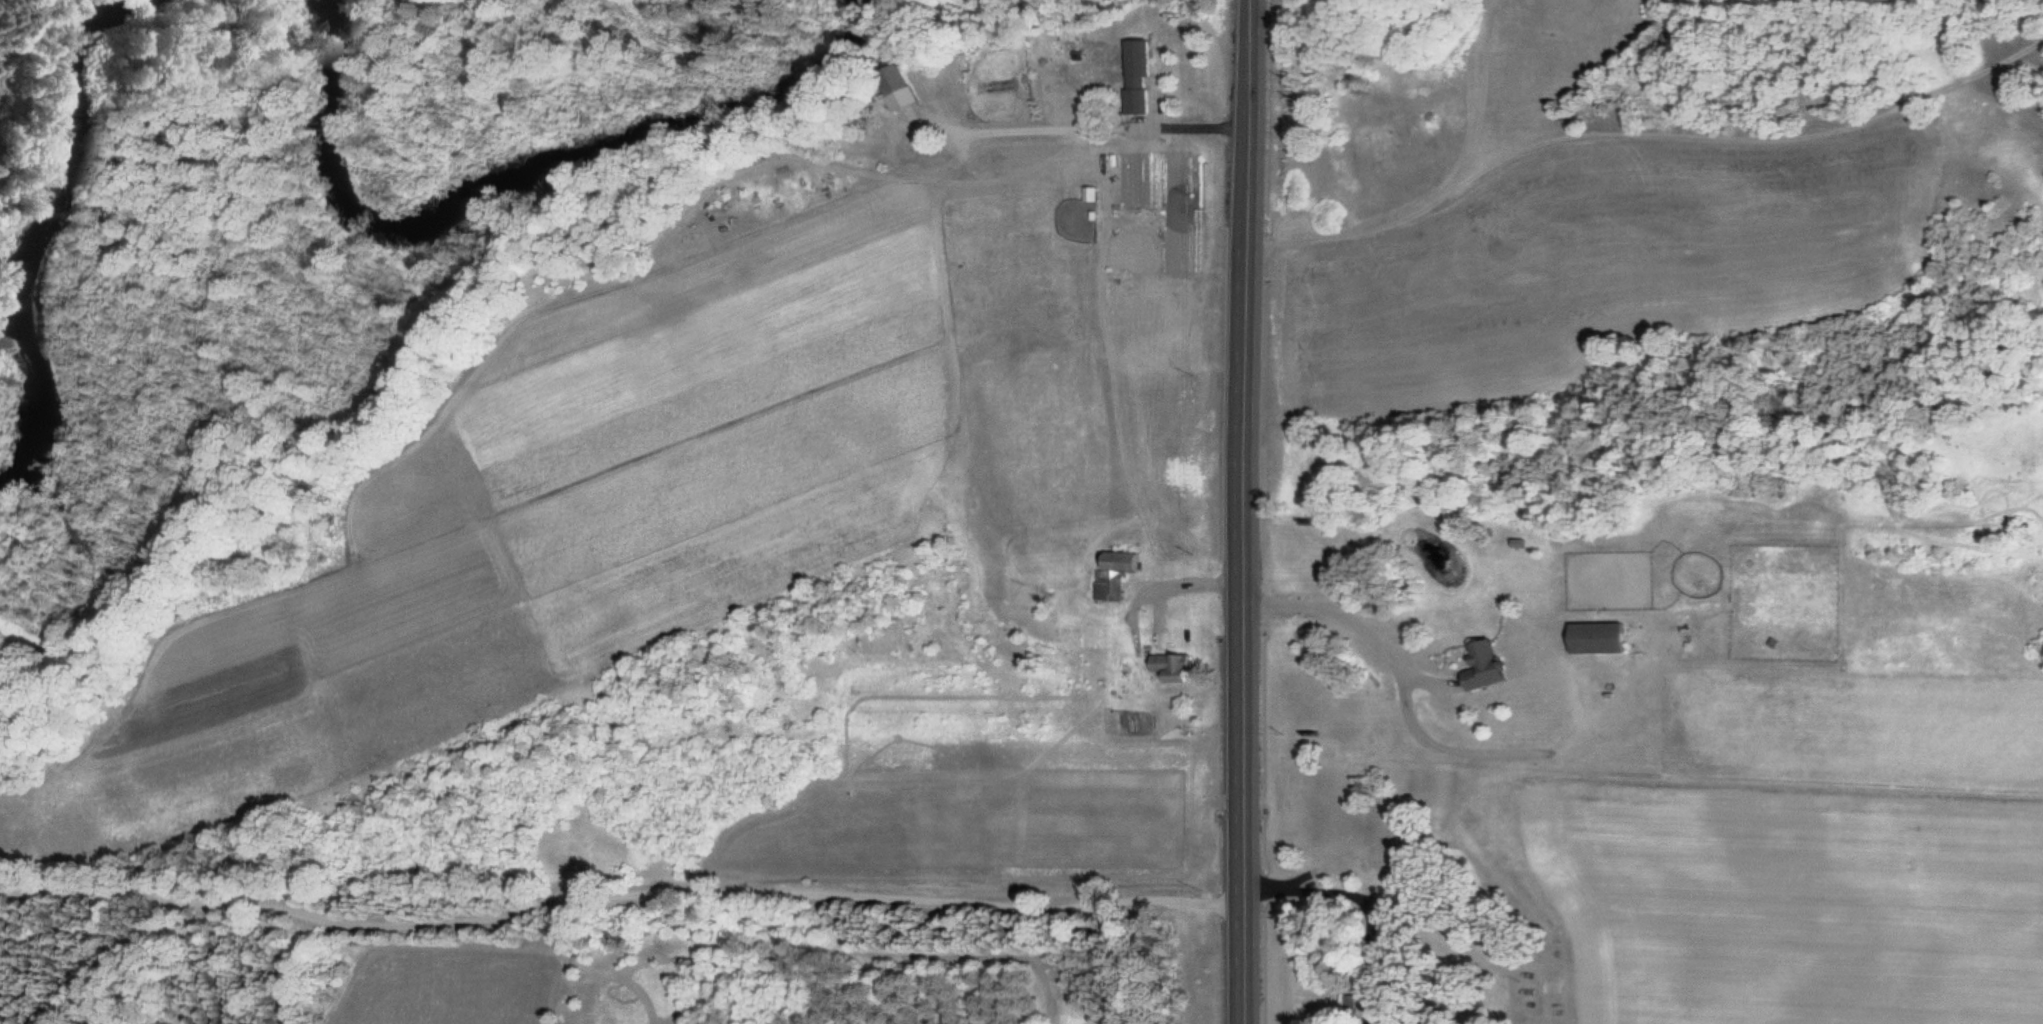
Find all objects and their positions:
building: (1136, 77)
building: (894, 87)
road: (1011, 130)
river: (515, 172)
road: (1441, 192)
river: (43, 230)
road: (1245, 512)
building: (1114, 574)
building: (1593, 638)
building: (1479, 666)
building: (1169, 667)

